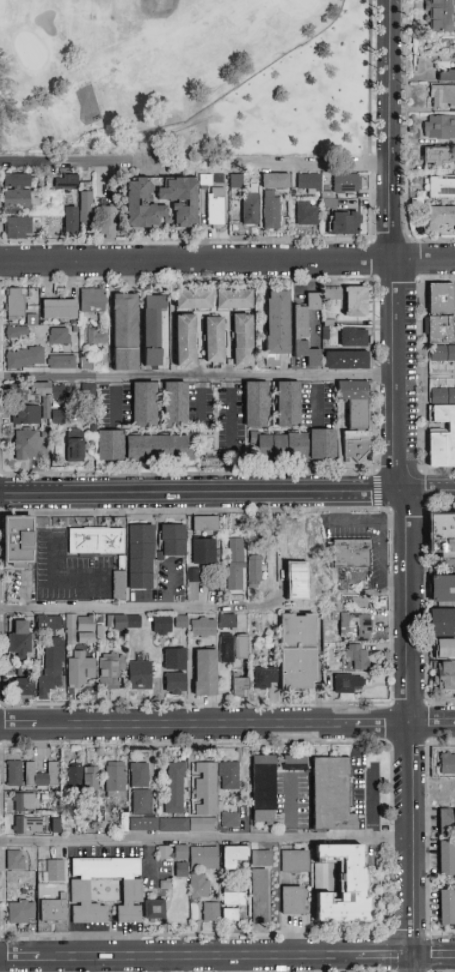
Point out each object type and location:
building: (441, 15)
park: (136, 62)
building: (447, 76)
park: (190, 79)
road: (371, 85)
road: (245, 97)
building: (442, 97)
building: (439, 127)
road: (387, 130)
building: (435, 157)
road: (62, 159)
road: (248, 161)
building: (63, 181)
building: (236, 182)
building: (308, 183)
building: (346, 183)
building: (440, 187)
building: (17, 192)
building: (272, 198)
building: (180, 200)
building: (327, 201)
building: (141, 205)
road: (372, 205)
building: (215, 207)
building: (85, 208)
building: (249, 208)
building: (306, 214)
building: (441, 219)
building: (70, 220)
building: (109, 221)
building: (344, 223)
building: (17, 228)
road: (423, 260)
road: (196, 261)
building: (332, 294)
building: (440, 298)
building: (213, 299)
building: (92, 300)
building: (355, 302)
building: (15, 303)
building: (59, 310)
building: (29, 318)
building: (276, 326)
building: (152, 328)
building: (440, 329)
building: (305, 330)
building: (124, 332)
building: (16, 333)
building: (58, 336)
building: (95, 337)
building: (353, 337)
building: (74, 340)
building: (214, 340)
building: (185, 341)
building: (242, 341)
building: (442, 353)
building: (25, 358)
building: (345, 360)
building: (62, 361)
building: (85, 362)
road: (394, 376)
road: (197, 379)
building: (49, 390)
building: (16, 393)
road: (315, 401)
road: (115, 403)
road: (201, 404)
building: (256, 404)
building: (287, 404)
building: (144, 405)
building: (175, 405)
road: (232, 411)
building: (24, 415)
building: (56, 417)
building: (355, 418)
building: (451, 427)
building: (24, 445)
building: (322, 445)
building: (110, 446)
building: (280, 446)
building: (158, 448)
building: (74, 450)
road: (429, 492)
road: (201, 495)
road: (358, 522)
building: (441, 535)
building: (17, 539)
building: (203, 539)
building: (96, 540)
building: (172, 540)
building: (235, 550)
building: (351, 553)
building: (140, 556)
road: (380, 565)
building: (254, 568)
building: (234, 579)
building: (191, 585)
building: (119, 586)
building: (442, 589)
road: (103, 608)
building: (178, 621)
building: (227, 621)
building: (123, 622)
building: (442, 623)
building: (52, 624)
building: (161, 625)
building: (203, 627)
building: (355, 627)
building: (79, 630)
building: (19, 639)
building: (233, 648)
building: (444, 648)
building: (298, 653)
building: (356, 656)
building: (174, 659)
building: (50, 668)
building: (11, 670)
building: (79, 670)
building: (109, 671)
building: (204, 672)
building: (139, 673)
building: (445, 676)
building: (265, 678)
building: (174, 683)
building: (347, 684)
building: (240, 687)
building: (22, 688)
road: (227, 725)
road: (408, 732)
building: (293, 762)
building: (447, 764)
building: (14, 773)
building: (138, 774)
building: (41, 775)
building: (229, 776)
building: (84, 778)
building: (114, 780)
building: (175, 788)
building: (205, 788)
building: (262, 789)
building: (330, 795)
building: (141, 802)
building: (23, 803)
road: (288, 808)
building: (229, 820)
building: (447, 821)
building: (141, 822)
building: (171, 822)
building: (51, 823)
building: (202, 824)
building: (27, 826)
road: (206, 841)
building: (177, 849)
building: (233, 856)
building: (203, 858)
building: (447, 859)
building: (15, 860)
building: (294, 861)
road: (149, 866)
building: (178, 867)
building: (54, 870)
building: (340, 883)
building: (199, 885)
building: (259, 887)
building: (79, 891)
building: (233, 898)
building: (292, 901)
building: (447, 907)
building: (153, 910)
building: (52, 911)
building: (21, 912)
building: (210, 912)
building: (229, 915)
road: (385, 957)
road: (434, 957)
road: (196, 959)
road: (17, 960)

